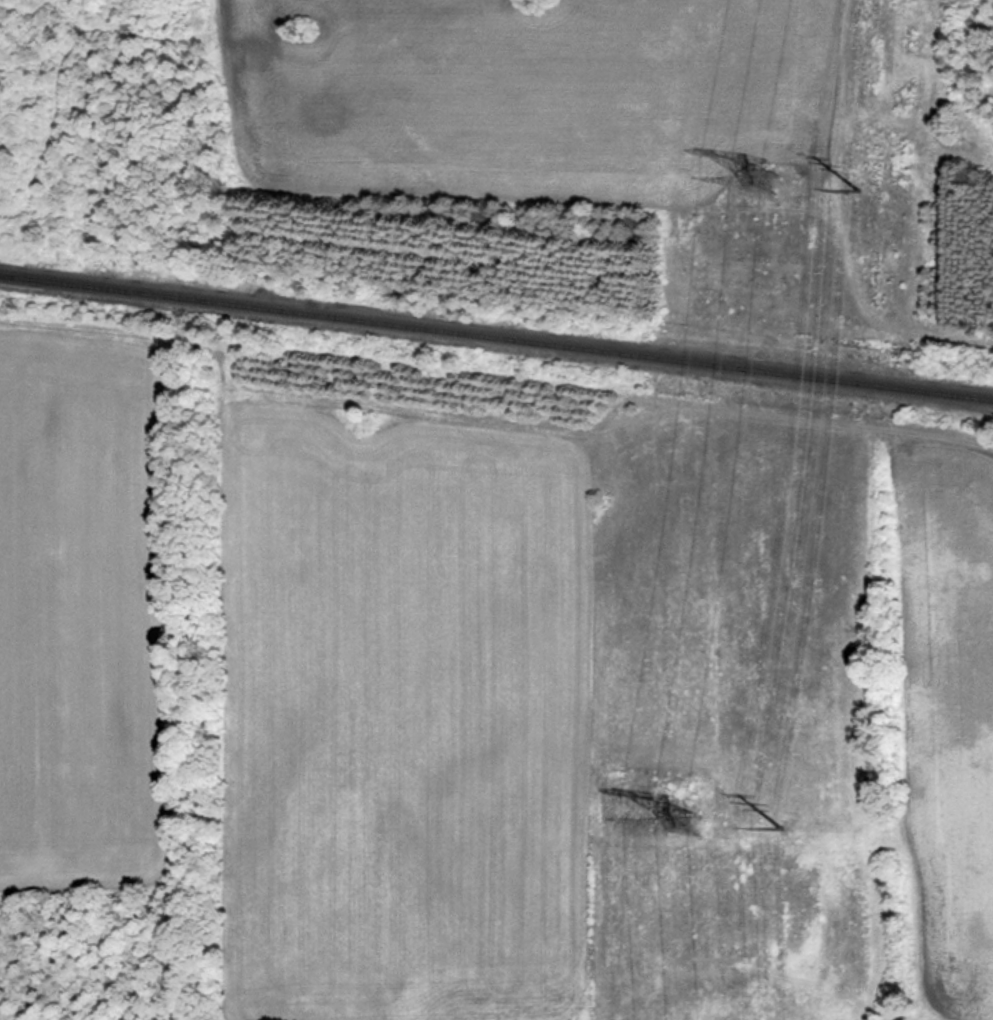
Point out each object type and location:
power tower: (849, 176)
power tower: (760, 184)
railway: (496, 333)
power tower: (677, 823)
power tower: (786, 825)

